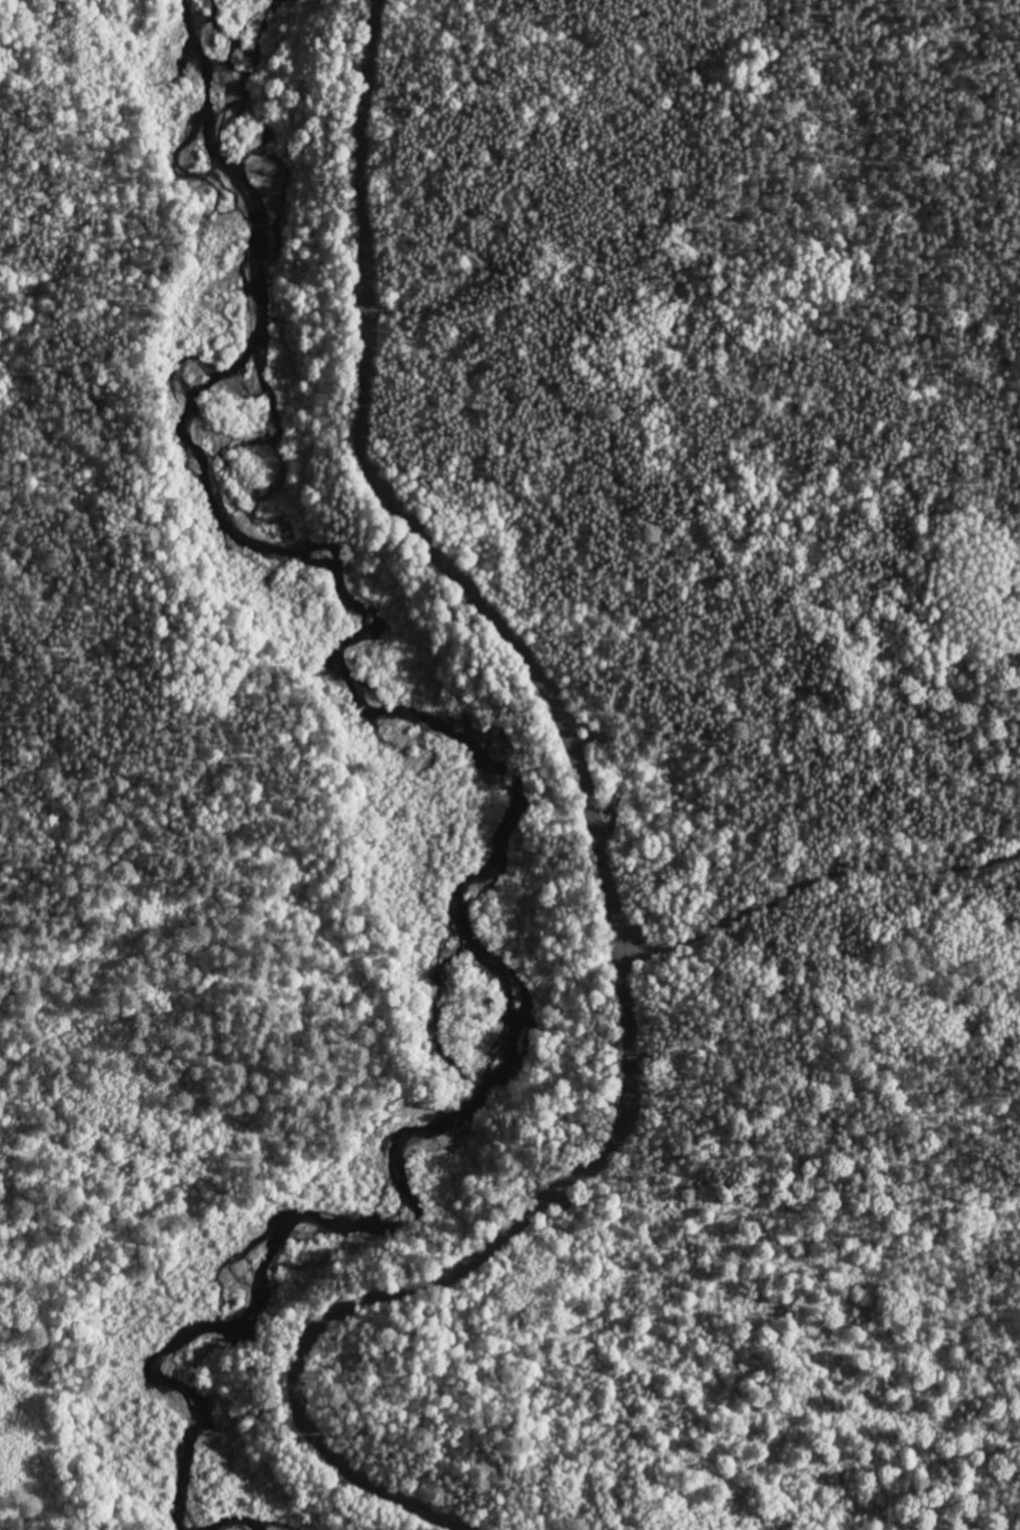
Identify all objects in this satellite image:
road: (623, 842)
road: (830, 845)
road: (133, 1017)

